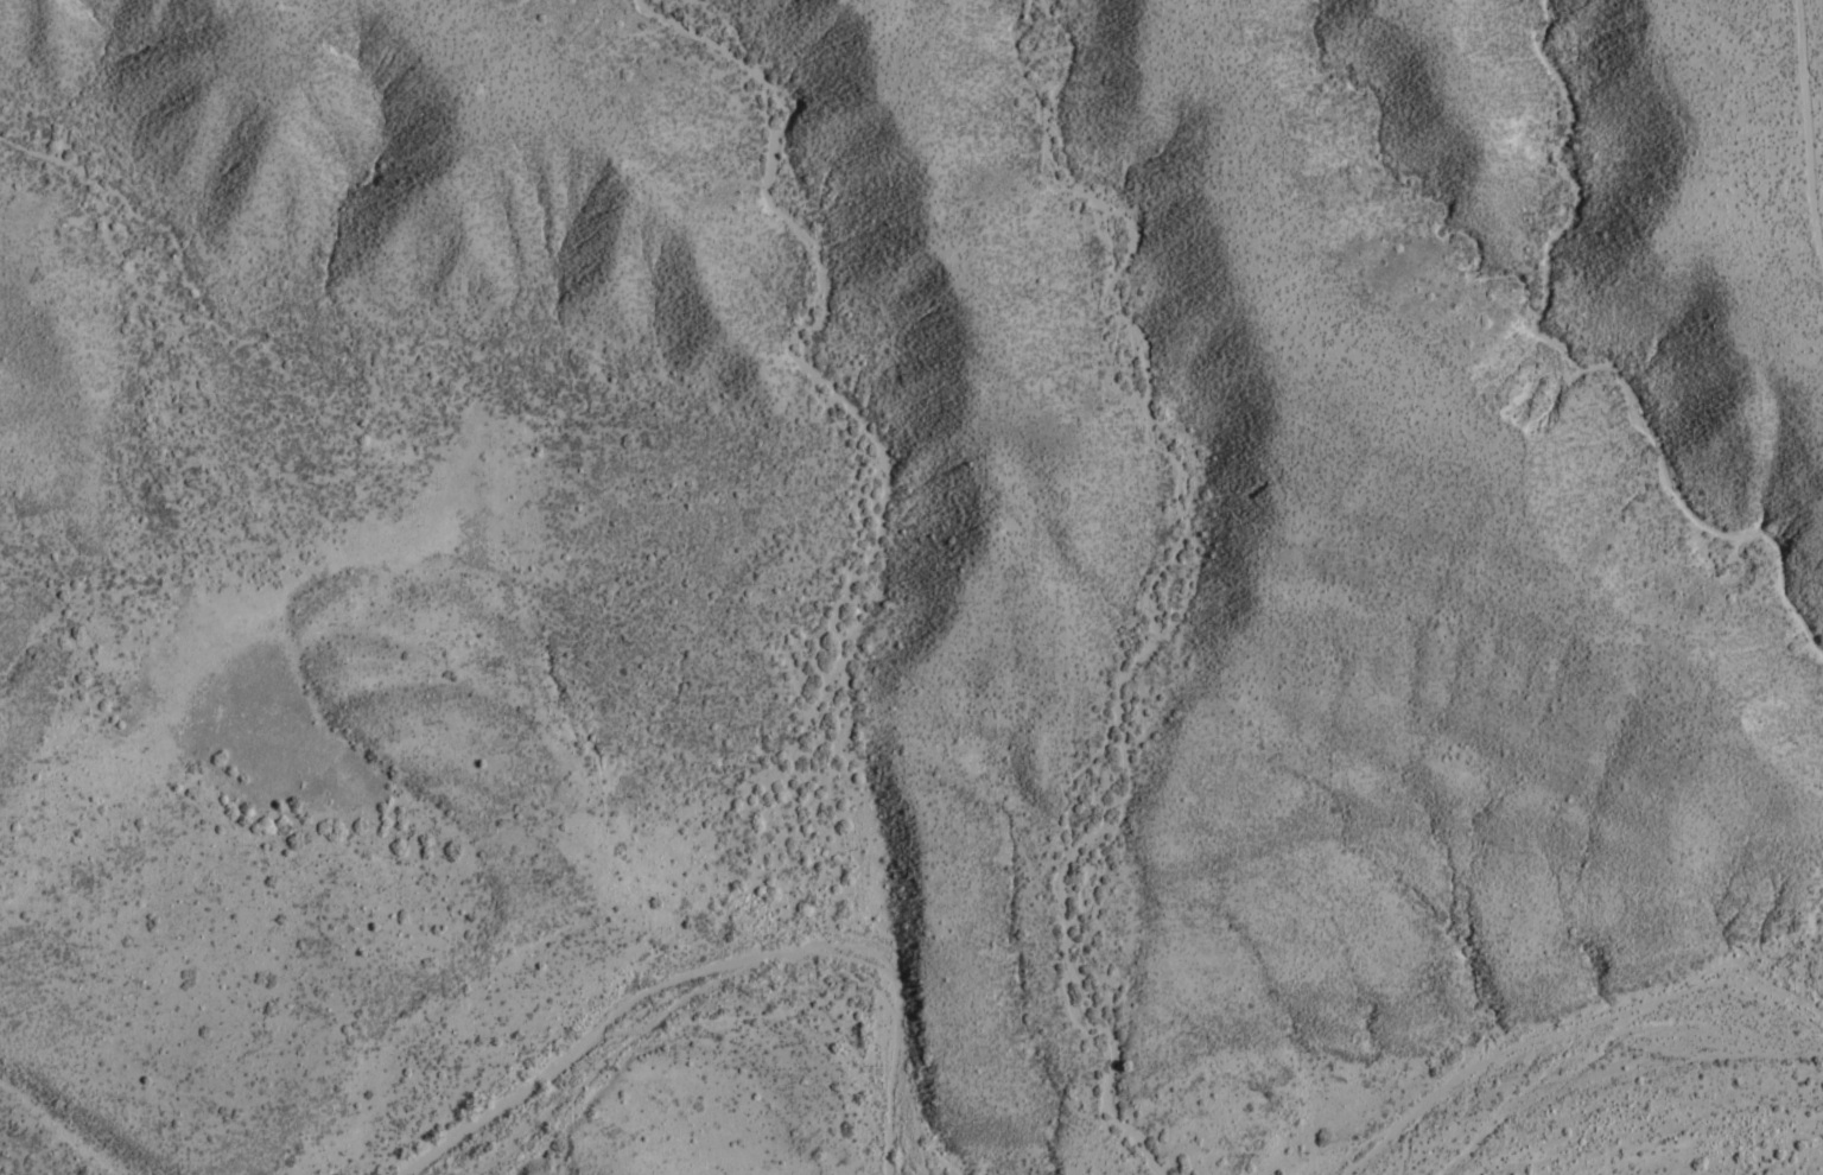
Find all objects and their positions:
road: (1802, 150)

